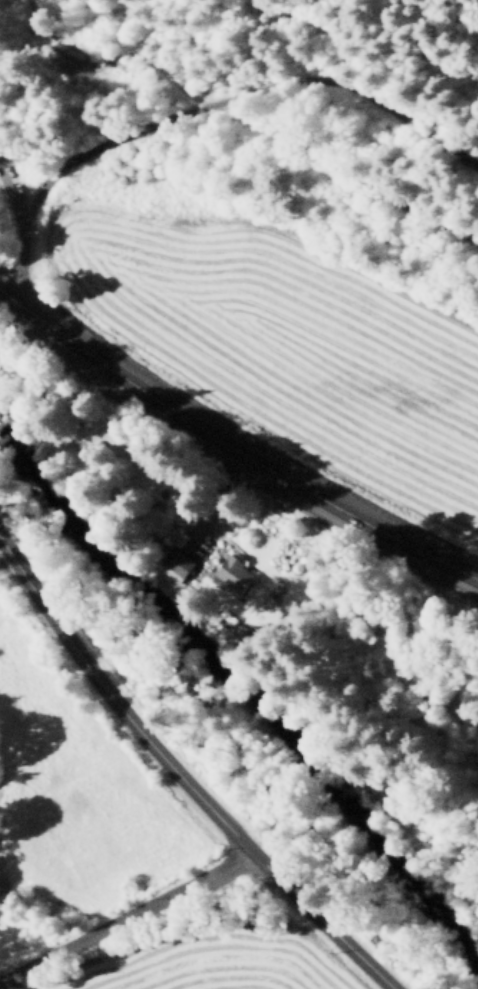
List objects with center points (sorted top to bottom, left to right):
building: (64, 57)
road: (233, 96)
road: (3, 173)
building: (179, 184)
road: (22, 240)
crop: (290, 345)
road: (231, 444)
road: (212, 499)
road: (8, 564)
building: (179, 565)
building: (233, 570)
river: (240, 724)
road: (183, 776)
road: (126, 915)
crop: (253, 976)
crop: (15, 986)

